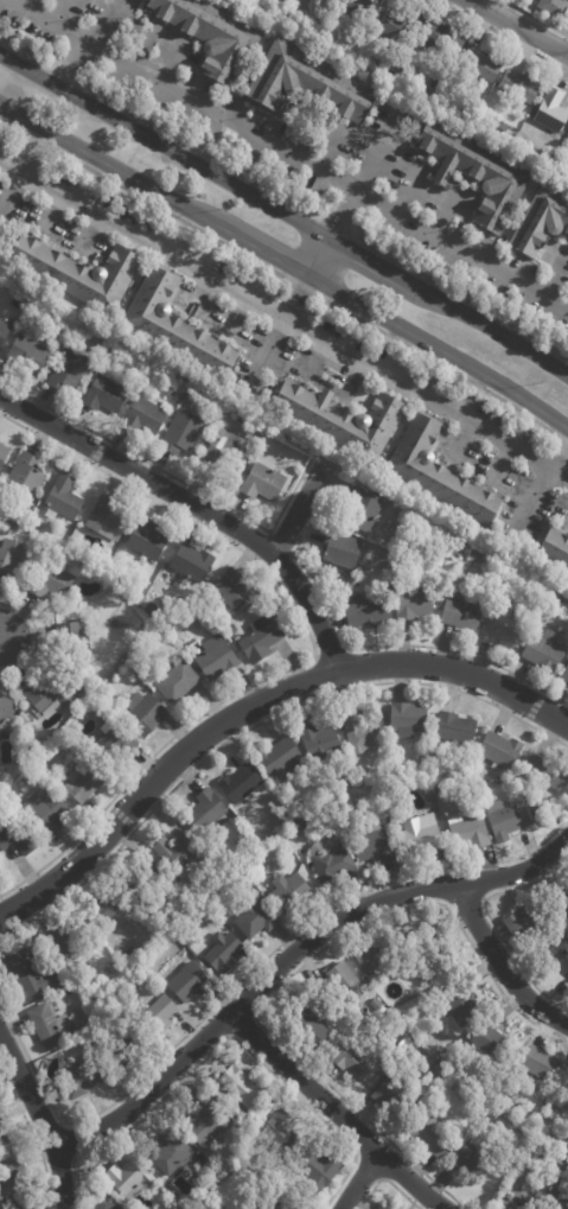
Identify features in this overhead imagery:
building: (325, 1)
building: (364, 7)
building: (554, 7)
road: (46, 18)
road: (531, 18)
road: (104, 21)
building: (401, 25)
road: (517, 27)
building: (212, 36)
road: (500, 36)
building: (445, 38)
road: (560, 52)
road: (28, 57)
road: (70, 64)
building: (481, 64)
building: (439, 79)
building: (306, 82)
building: (521, 87)
road: (218, 109)
building: (551, 110)
building: (503, 126)
road: (12, 127)
road: (37, 140)
road: (164, 147)
parking lot: (307, 147)
road: (199, 151)
road: (27, 152)
road: (374, 152)
road: (115, 171)
building: (477, 172)
road: (441, 173)
road: (410, 182)
road: (449, 205)
road: (168, 215)
road: (340, 216)
building: (540, 222)
road: (461, 248)
road: (268, 255)
road: (318, 257)
road: (375, 265)
road: (554, 272)
building: (78, 273)
road: (300, 288)
road: (455, 294)
road: (294, 298)
road: (275, 317)
building: (173, 325)
building: (4, 331)
road: (494, 332)
parking lot: (275, 335)
road: (439, 350)
building: (28, 352)
building: (109, 354)
road: (433, 361)
building: (69, 370)
building: (104, 394)
building: (143, 416)
building: (342, 419)
building: (180, 432)
building: (255, 435)
road: (559, 438)
building: (2, 453)
building: (221, 453)
road: (553, 466)
building: (438, 473)
road: (170, 476)
building: (26, 477)
building: (262, 484)
building: (63, 501)
road: (525, 501)
road: (197, 507)
building: (362, 509)
road: (296, 511)
building: (104, 517)
road: (268, 532)
building: (146, 540)
building: (555, 549)
building: (339, 554)
building: (474, 556)
building: (11, 558)
building: (192, 564)
building: (49, 581)
building: (231, 590)
building: (414, 600)
building: (368, 612)
building: (461, 613)
building: (504, 626)
road: (34, 637)
building: (261, 640)
building: (71, 643)
road: (364, 647)
road: (351, 648)
road: (313, 651)
building: (543, 651)
building: (216, 658)
building: (564, 674)
building: (177, 682)
building: (47, 694)
road: (254, 704)
building: (6, 708)
building: (143, 713)
building: (408, 718)
building: (23, 719)
road: (256, 724)
building: (454, 727)
building: (362, 732)
building: (318, 738)
building: (113, 744)
building: (499, 749)
building: (421, 753)
building: (277, 756)
building: (547, 771)
building: (369, 774)
building: (241, 781)
building: (84, 784)
building: (479, 787)
building: (452, 795)
building: (513, 798)
building: (206, 808)
building: (44, 814)
building: (506, 819)
building: (302, 820)
building: (467, 828)
building: (421, 834)
building: (15, 836)
building: (374, 844)
building: (180, 852)
building: (331, 866)
building: (139, 877)
building: (288, 891)
road: (384, 898)
road: (481, 898)
building: (562, 901)
building: (106, 908)
building: (256, 918)
road: (491, 922)
building: (522, 922)
building: (432, 938)
building: (68, 940)
building: (129, 952)
building: (224, 952)
building: (379, 957)
road: (499, 965)
building: (65, 966)
road: (295, 968)
building: (30, 975)
road: (244, 978)
building: (566, 979)
building: (345, 980)
building: (190, 981)
building: (114, 993)
building: (460, 1001)
building: (106, 1004)
building: (376, 1004)
building: (158, 1013)
road: (251, 1014)
building: (308, 1023)
building: (50, 1024)
building: (103, 1030)
road: (222, 1041)
building: (489, 1044)
building: (127, 1048)
building: (420, 1055)
building: (355, 1058)
building: (541, 1063)
building: (439, 1071)
building: (81, 1078)
building: (238, 1087)
road: (147, 1089)
road: (27, 1090)
building: (395, 1094)
road: (333, 1111)
building: (563, 1112)
building: (261, 1113)
building: (489, 1113)
building: (208, 1125)
building: (281, 1131)
building: (430, 1133)
road: (33, 1135)
building: (2, 1138)
building: (534, 1140)
building: (547, 1150)
building: (168, 1153)
road: (76, 1156)
building: (474, 1158)
building: (319, 1170)
building: (12, 1173)
road: (60, 1177)
building: (128, 1178)
road: (358, 1179)
road: (379, 1179)
road: (385, 1181)
building: (554, 1192)
building: (277, 1201)
building: (15, 1205)
building: (110, 1207)
building: (382, 1208)

